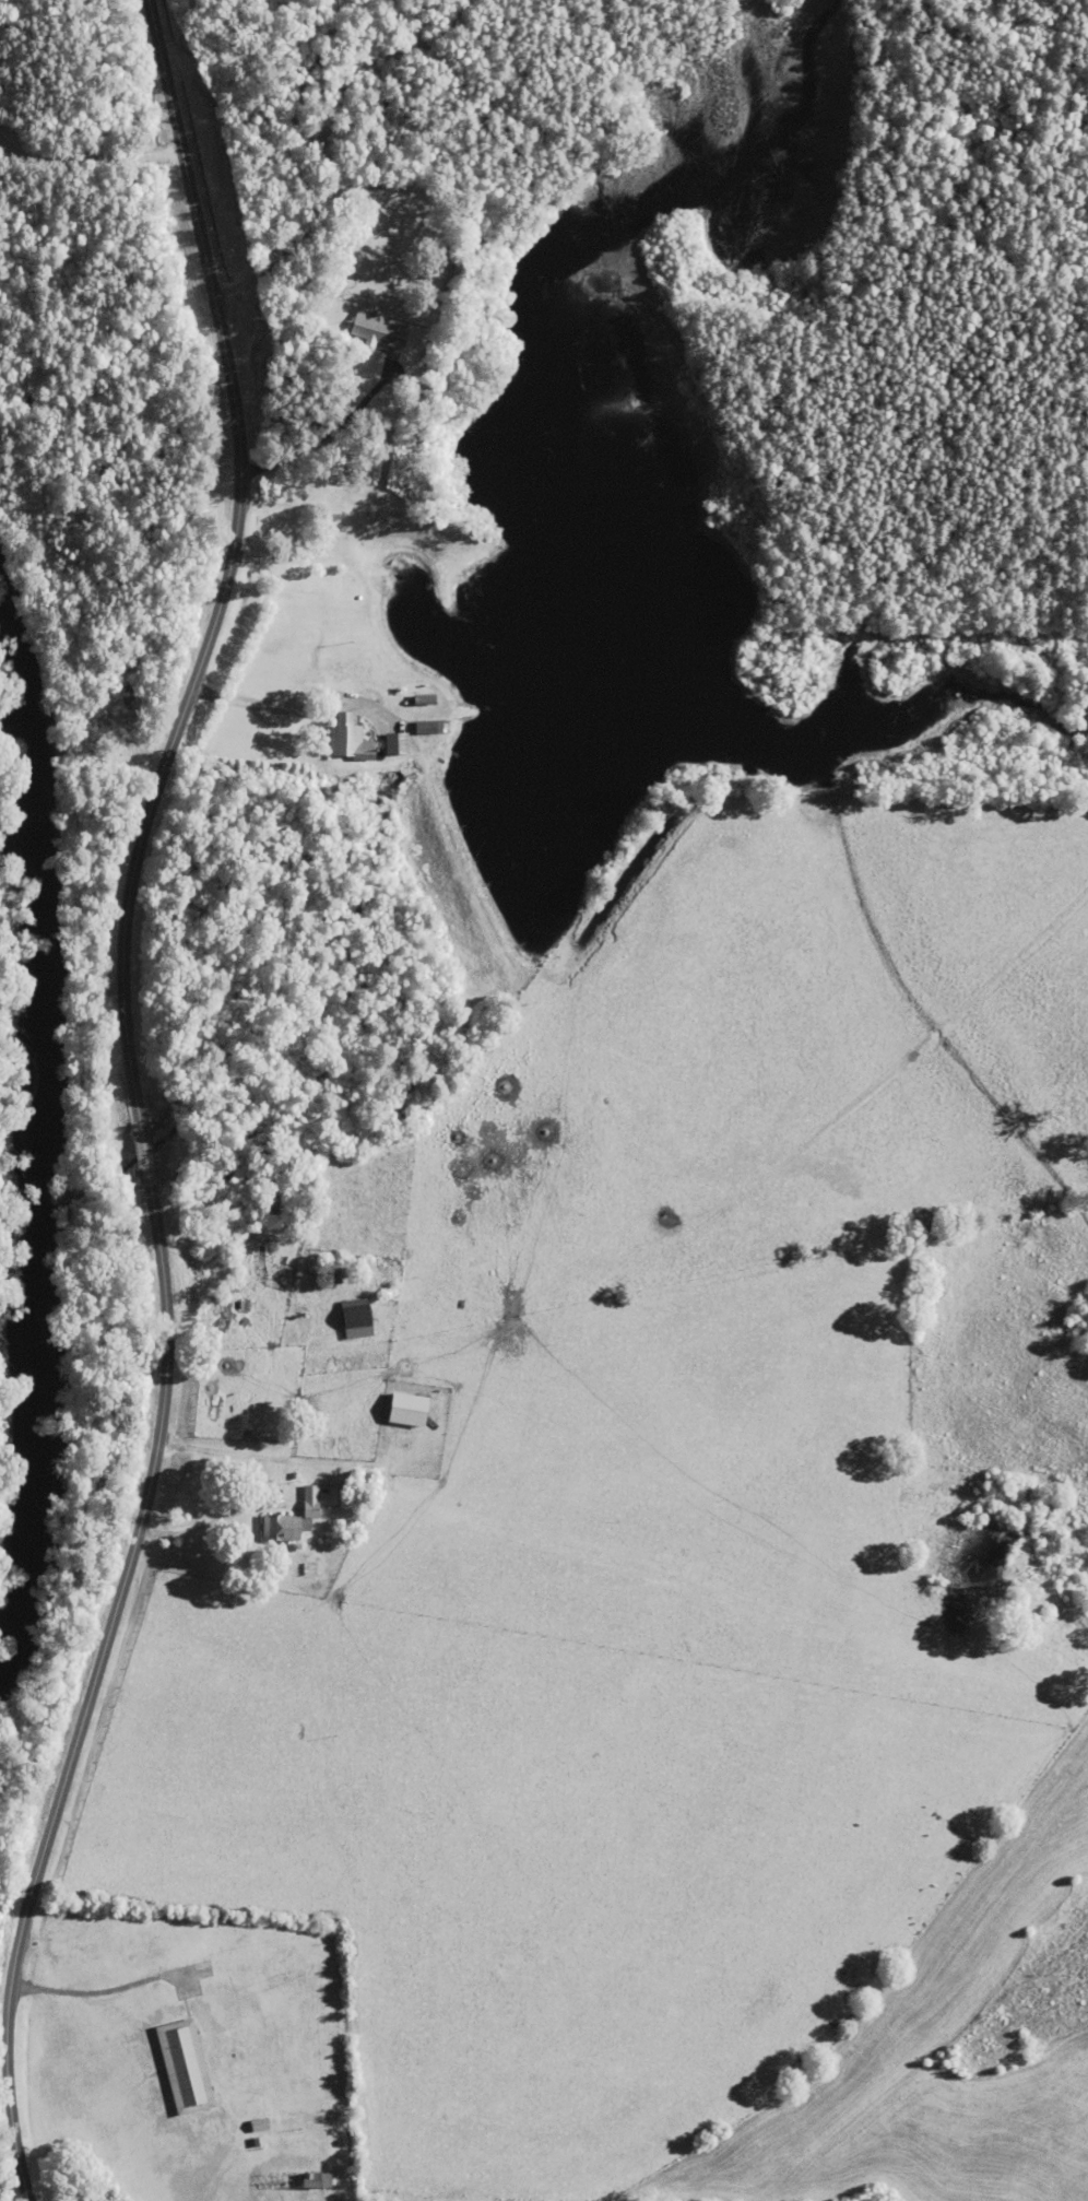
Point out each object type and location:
road: (287, 85)
building: (380, 329)
road: (226, 565)
building: (433, 727)
building: (353, 739)
road: (143, 1152)
river: (26, 1156)
building: (338, 1276)
building: (360, 1318)
building: (294, 1518)
road: (87, 1695)
building: (188, 2067)
building: (314, 2180)

